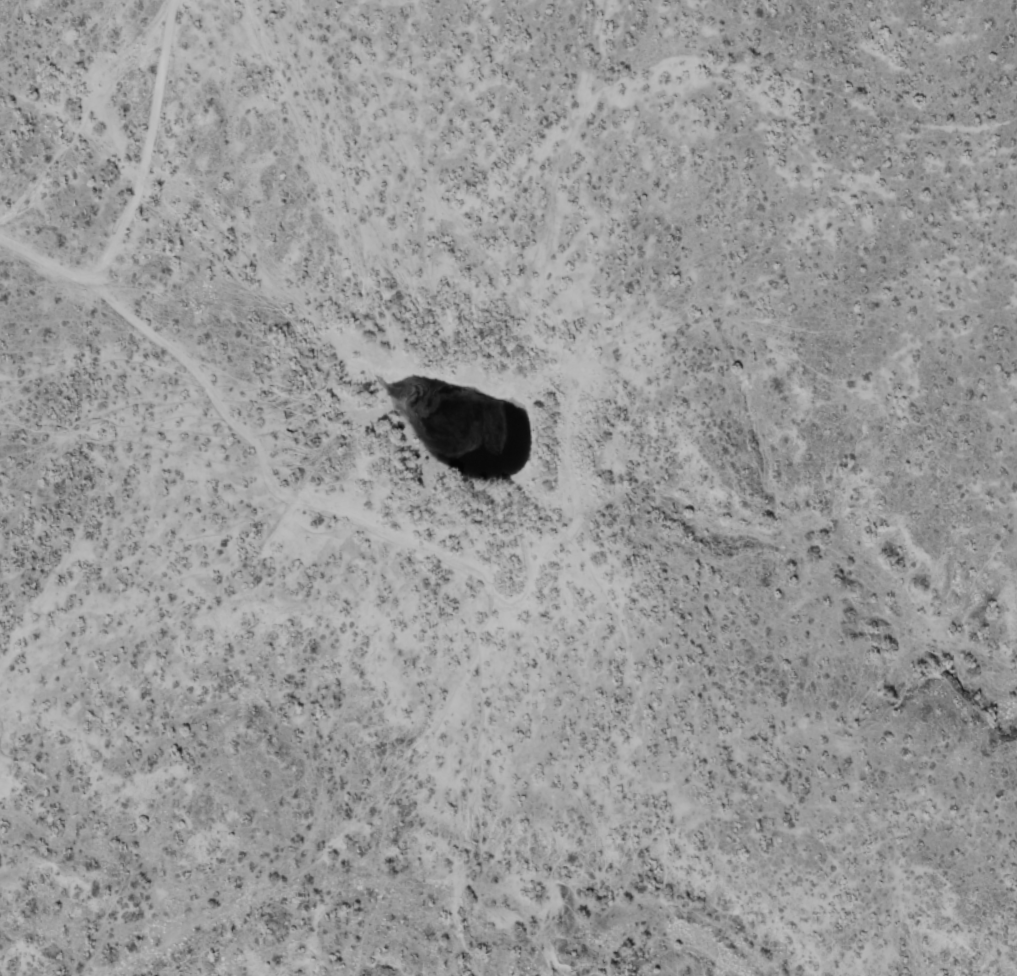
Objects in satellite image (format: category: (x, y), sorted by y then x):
road: (91, 123)

